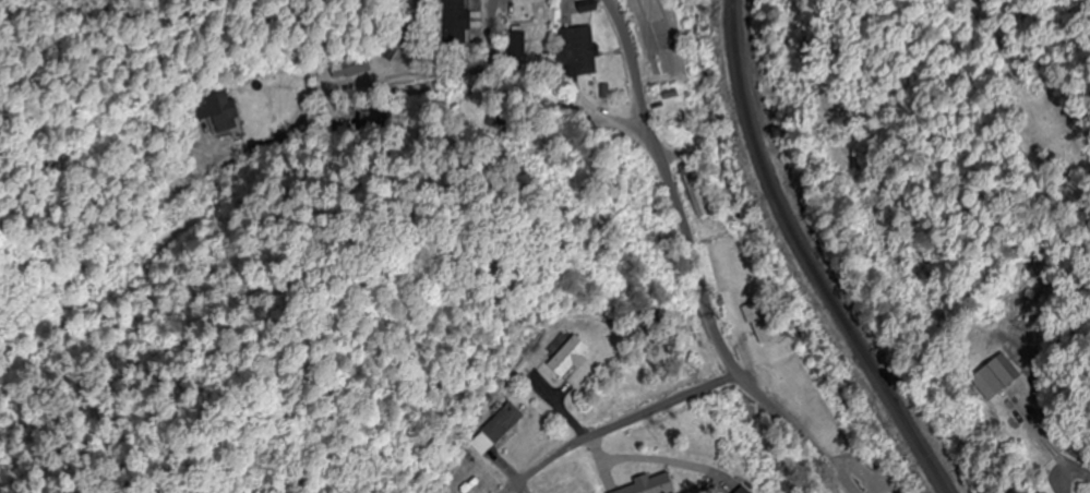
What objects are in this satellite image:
building: (459, 21)
building: (517, 44)
building: (582, 52)
building: (227, 123)
road: (74, 160)
building: (691, 175)
railway: (810, 258)
road: (658, 270)
road: (489, 322)
building: (759, 323)
building: (575, 358)
building: (1003, 376)
building: (506, 424)
building: (650, 485)

